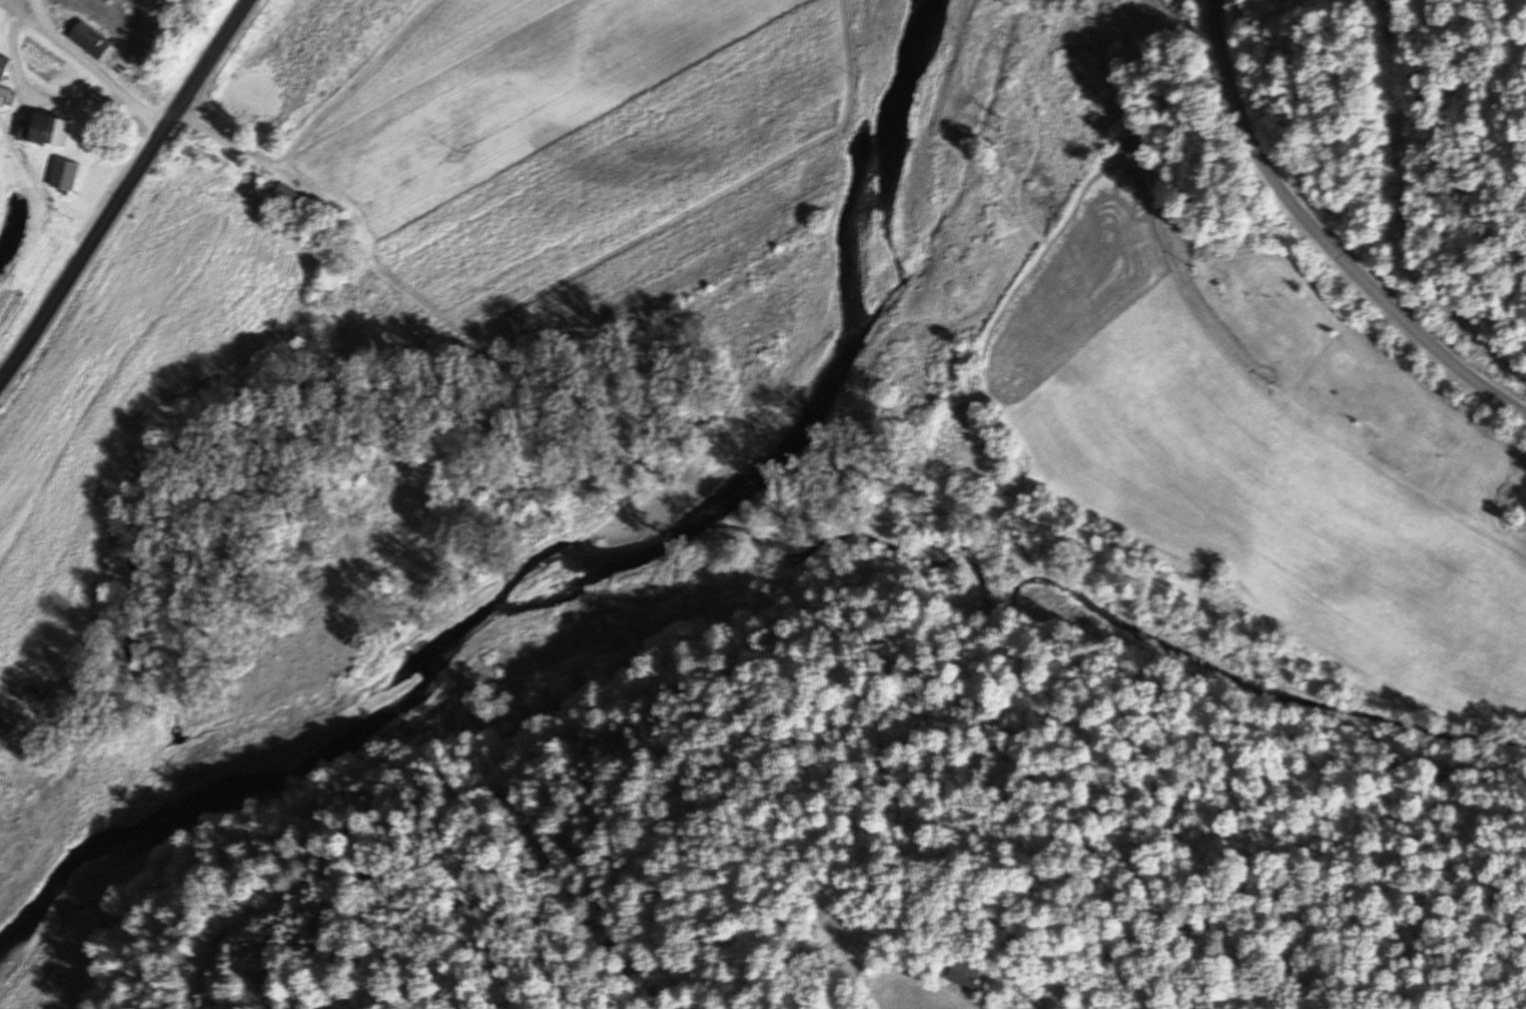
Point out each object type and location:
building: (86, 41)
building: (2, 66)
road: (96, 67)
building: (3, 97)
building: (41, 132)
building: (61, 176)
road: (125, 193)
building: (284, 200)
road: (1322, 239)
river: (586, 552)
building: (8, 722)
building: (970, 975)
road: (5, 984)

